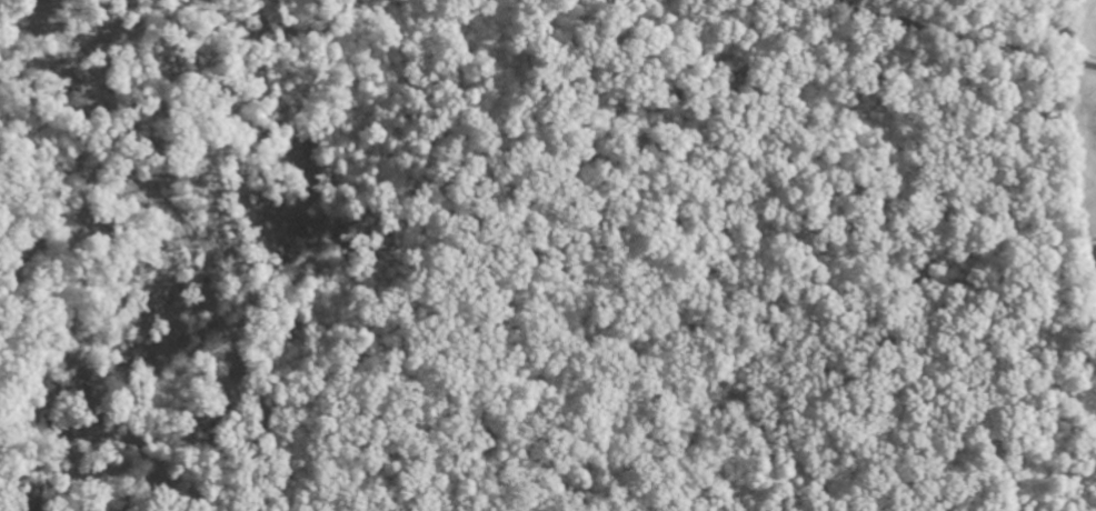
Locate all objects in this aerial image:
road: (13, 31)
road: (960, 38)
road: (901, 169)

